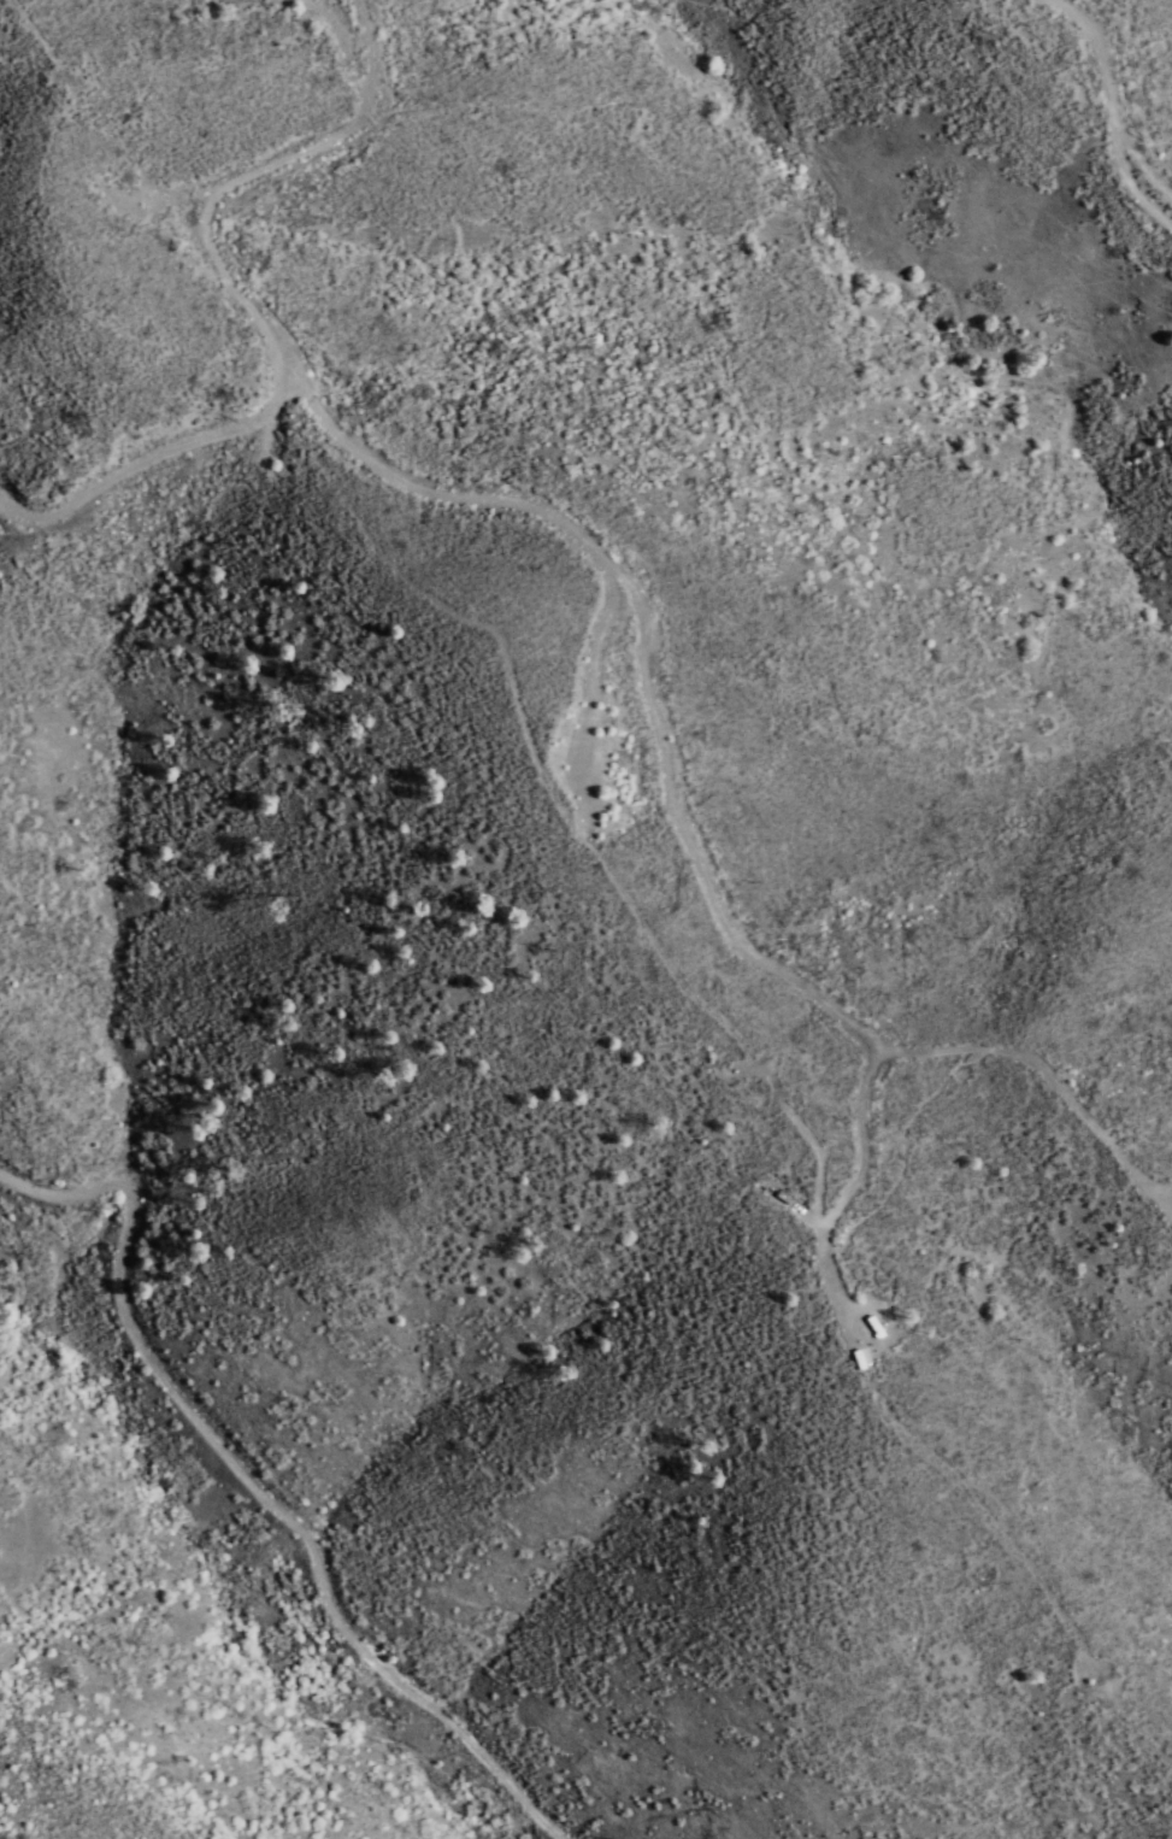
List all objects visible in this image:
road: (1085, 125)
building: (874, 1332)

